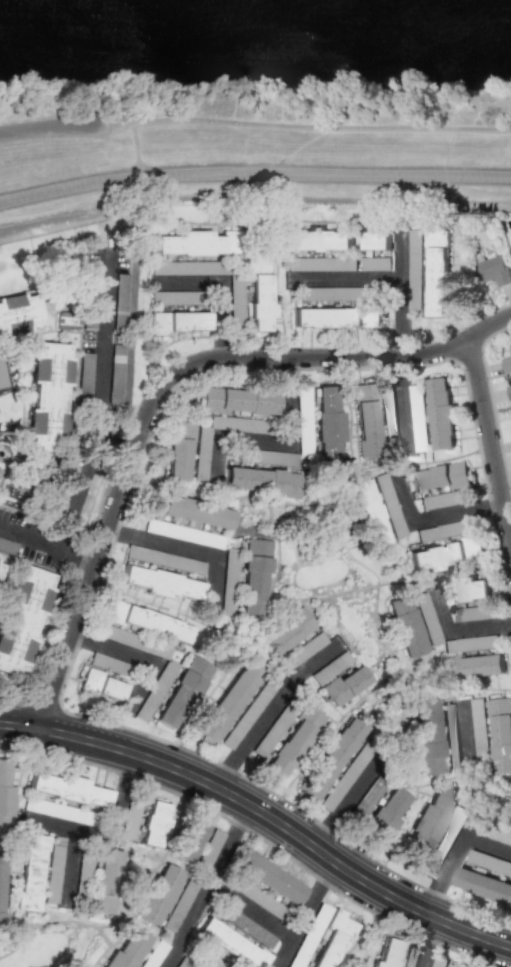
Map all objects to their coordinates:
river: (501, 0)
river: (32, 3)
road: (43, 124)
road: (254, 174)
building: (315, 240)
building: (376, 240)
building: (198, 243)
building: (258, 265)
building: (493, 270)
building: (437, 271)
road: (228, 286)
building: (259, 303)
building: (19, 311)
road: (397, 312)
building: (337, 317)
building: (67, 321)
building: (177, 322)
building: (507, 362)
road: (166, 391)
building: (509, 392)
building: (48, 395)
building: (237, 401)
building: (441, 414)
building: (365, 421)
building: (327, 425)
road: (289, 437)
road: (94, 439)
building: (201, 454)
road: (489, 458)
building: (177, 459)
building: (438, 478)
building: (262, 481)
building: (444, 499)
building: (389, 507)
building: (187, 511)
building: (366, 514)
road: (436, 516)
building: (7, 546)
building: (257, 547)
road: (192, 548)
building: (446, 554)
building: (143, 555)
building: (0, 563)
road: (77, 563)
building: (230, 567)
building: (160, 583)
building: (252, 584)
building: (468, 590)
building: (473, 613)
building: (22, 616)
building: (426, 619)
building: (146, 621)
building: (404, 626)
road: (457, 627)
building: (284, 634)
building: (301, 652)
road: (126, 654)
building: (106, 663)
building: (473, 667)
building: (100, 685)
building: (344, 685)
building: (182, 693)
building: (228, 701)
road: (270, 711)
building: (247, 714)
building: (449, 723)
building: (479, 726)
building: (501, 734)
building: (426, 738)
building: (293, 741)
building: (330, 758)
building: (343, 778)
building: (4, 790)
building: (66, 790)
road: (340, 803)
building: (59, 811)
building: (386, 811)
building: (505, 811)
road: (475, 812)
road: (264, 814)
building: (129, 819)
building: (429, 819)
building: (153, 825)
building: (189, 838)
building: (505, 838)
road: (108, 839)
building: (444, 842)
road: (487, 844)
building: (209, 849)
building: (481, 859)
building: (54, 861)
building: (29, 873)
building: (268, 876)
building: (97, 880)
building: (0, 884)
road: (206, 886)
building: (483, 886)
building: (157, 894)
building: (257, 897)
building: (178, 906)
road: (250, 910)
road: (304, 913)
building: (333, 939)
building: (229, 944)
road: (429, 944)
building: (127, 950)
building: (386, 953)
building: (410, 959)
building: (440, 962)
building: (205, 963)
building: (451, 966)

